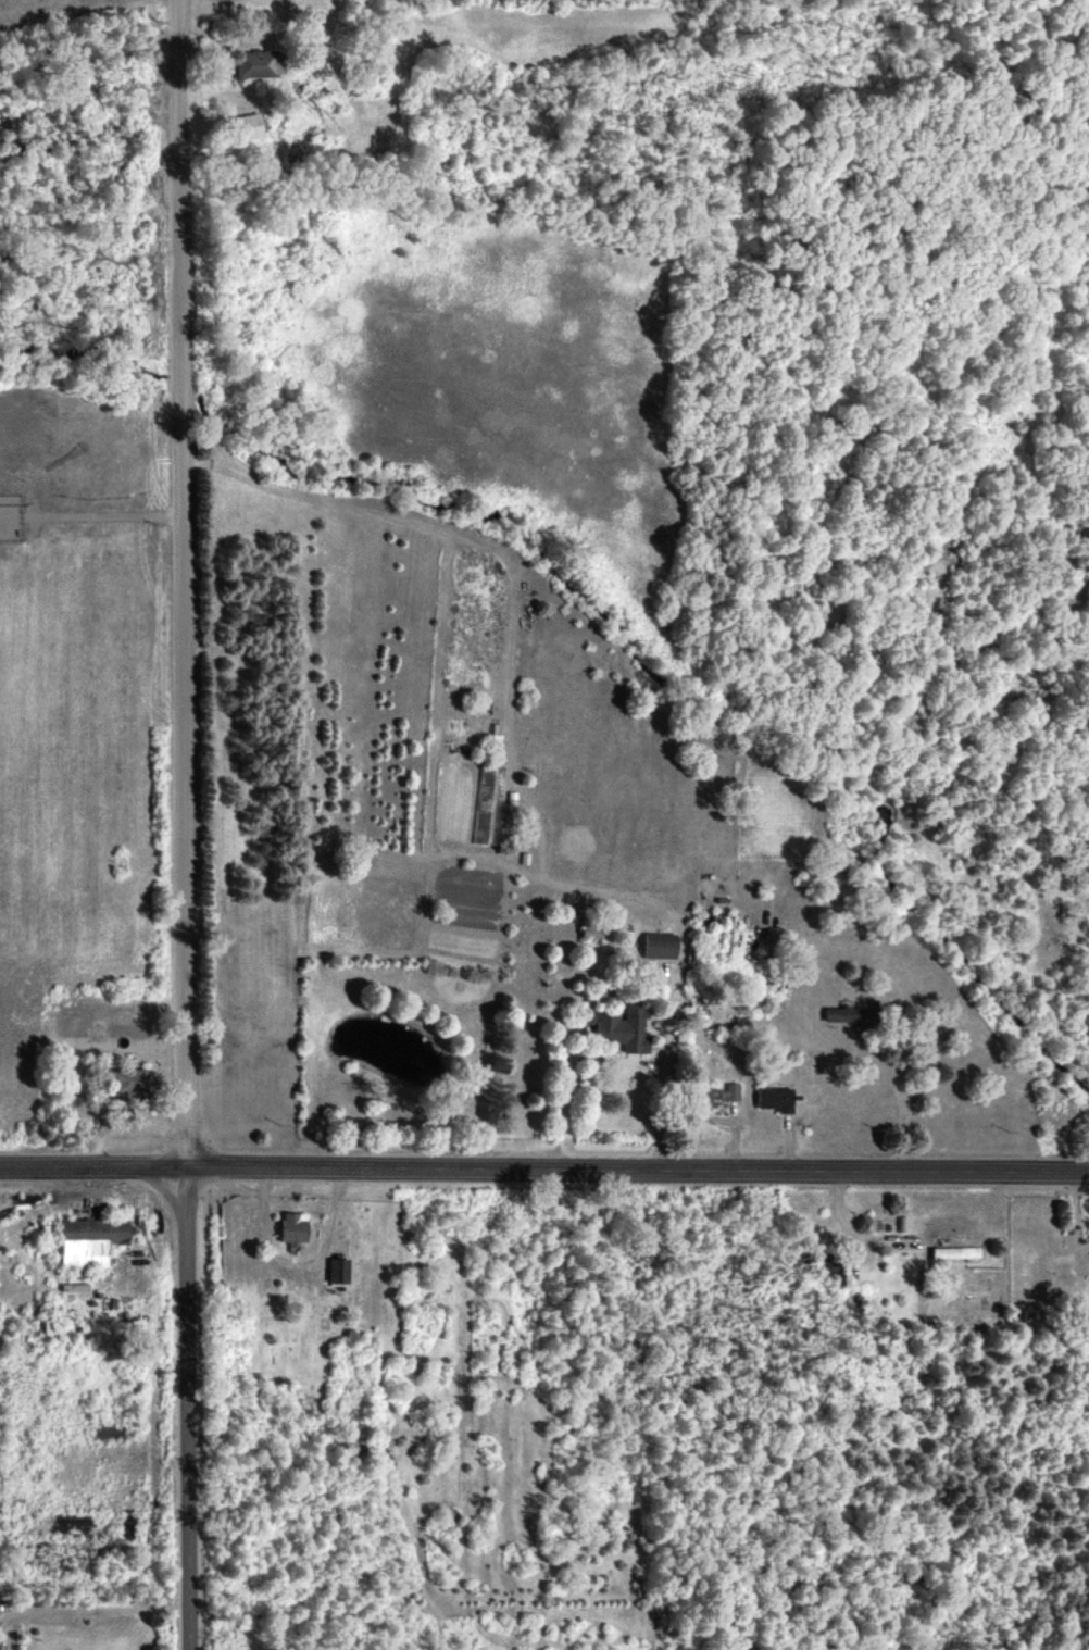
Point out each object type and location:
building: (258, 63)
building: (246, 125)
building: (9, 515)
road: (492, 553)
building: (486, 805)
road: (181, 824)
building: (590, 930)
building: (656, 945)
road: (680, 951)
building: (840, 1013)
building: (619, 1027)
building: (125, 1082)
building: (717, 1095)
building: (773, 1098)
road: (906, 1103)
road: (544, 1168)
road: (854, 1226)
building: (291, 1227)
building: (88, 1241)
building: (954, 1251)
building: (337, 1270)
road: (90, 1596)

